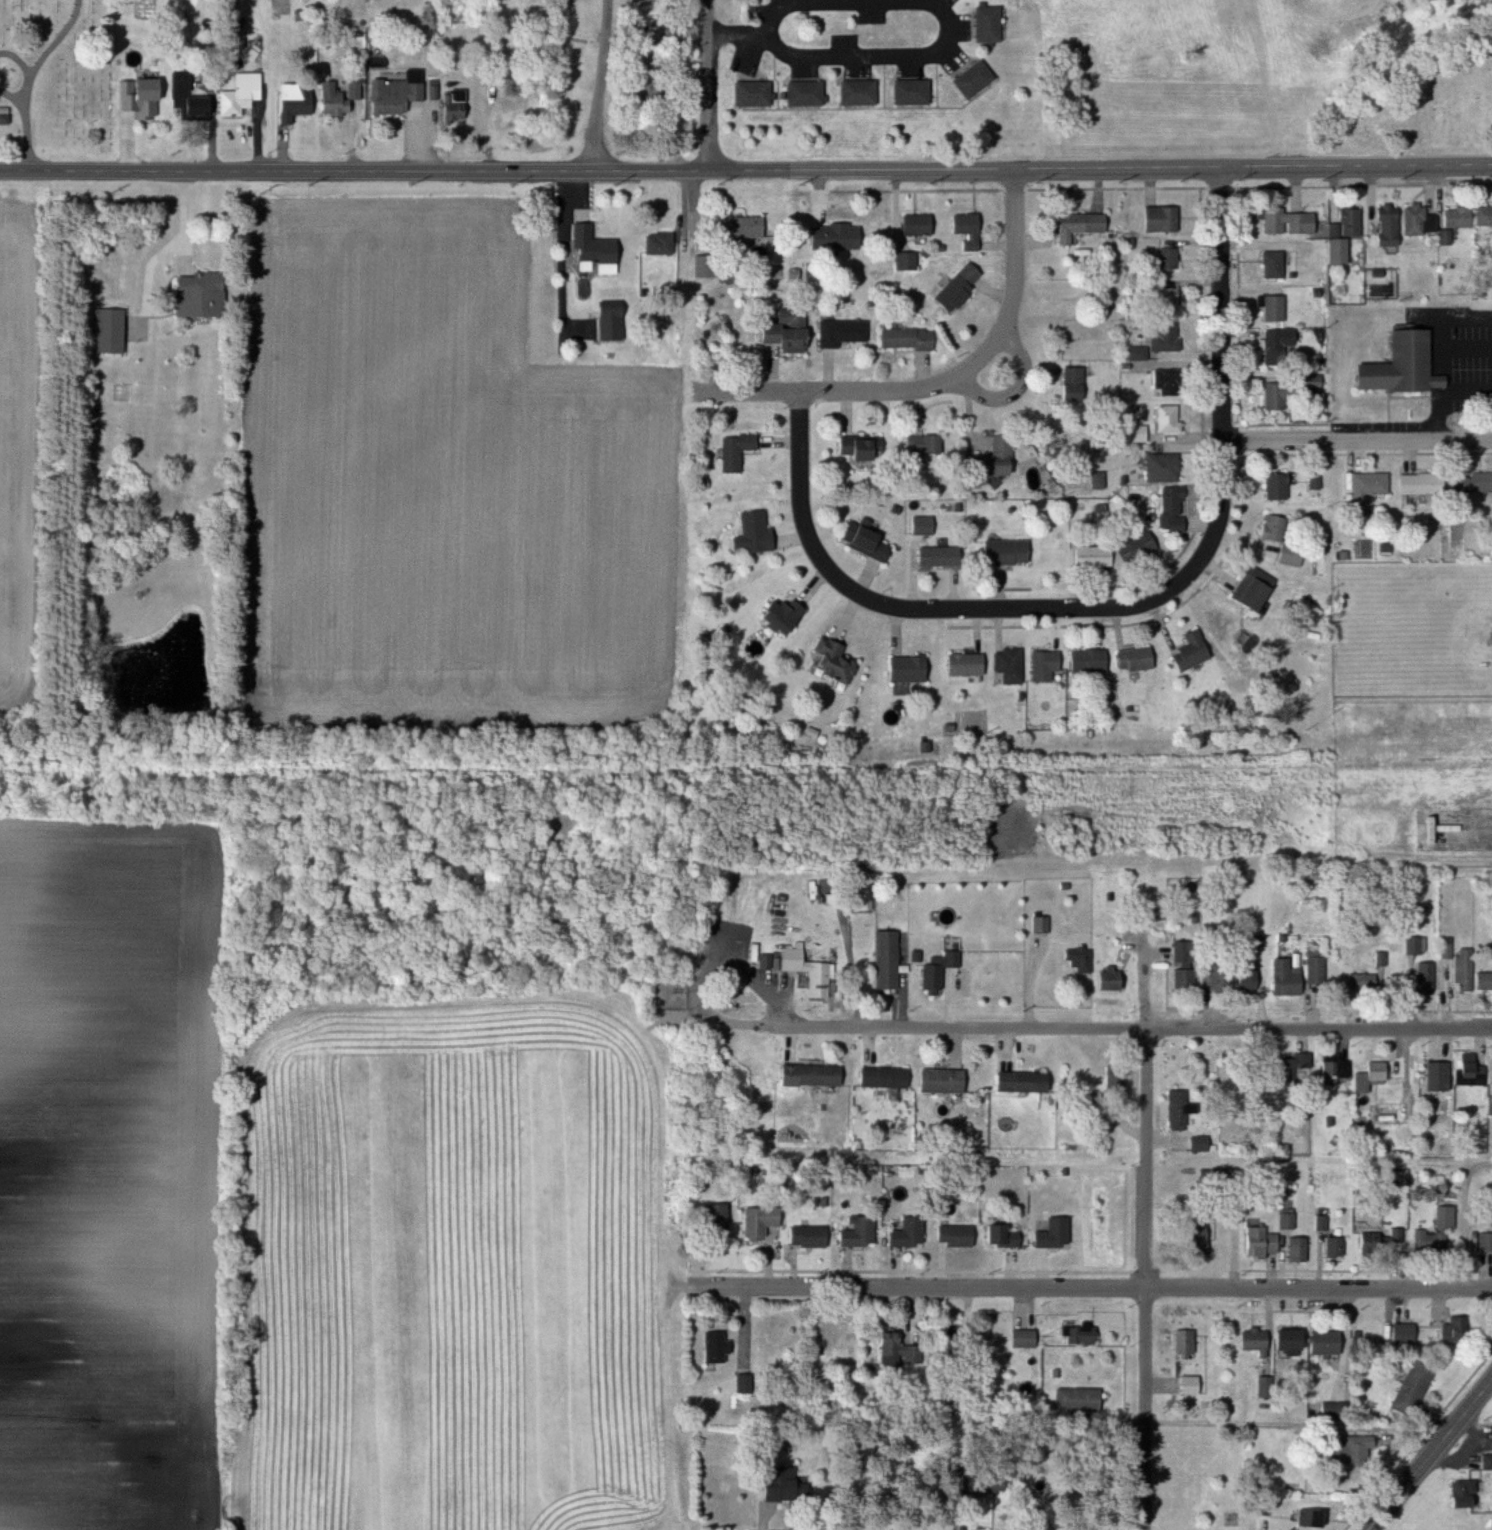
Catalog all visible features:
road: (818, 1)
road: (949, 14)
road: (709, 17)
building: (992, 25)
road: (739, 34)
road: (867, 53)
park: (65, 79)
building: (978, 80)
road: (603, 85)
building: (915, 92)
building: (862, 93)
building: (195, 94)
building: (244, 94)
building: (808, 94)
building: (401, 95)
building: (756, 95)
building: (152, 97)
building: (335, 100)
building: (298, 101)
park: (1452, 101)
road: (711, 103)
building: (458, 105)
road: (746, 170)
road: (186, 215)
building: (1469, 217)
building: (1164, 219)
building: (1423, 221)
building: (1292, 222)
building: (1083, 225)
building: (1391, 225)
building: (745, 227)
building: (974, 232)
building: (847, 235)
building: (1347, 235)
road: (170, 241)
building: (662, 243)
building: (599, 249)
road: (153, 251)
road: (562, 253)
building: (1170, 258)
building: (1277, 264)
building: (708, 266)
building: (962, 286)
building: (203, 294)
building: (1171, 300)
building: (1276, 307)
building: (614, 322)
building: (113, 330)
building: (792, 331)
building: (846, 333)
building: (1169, 337)
building: (910, 338)
building: (1283, 346)
building: (1408, 365)
building: (1171, 381)
building: (1077, 383)
road: (942, 384)
road: (1018, 389)
road: (1446, 394)
building: (1281, 395)
building: (1171, 418)
road: (1358, 440)
building: (927, 444)
building: (863, 447)
building: (739, 451)
building: (1003, 457)
building: (1165, 467)
building: (1424, 482)
building: (1475, 483)
building: (1280, 485)
building: (1371, 485)
building: (1175, 510)
building: (926, 524)
building: (760, 532)
building: (1286, 538)
building: (873, 543)
building: (1142, 549)
building: (1011, 552)
building: (1096, 555)
building: (942, 556)
building: (1261, 593)
road: (1125, 607)
building: (1195, 652)
building: (1146, 658)
building: (1092, 660)
building: (835, 662)
building: (970, 664)
building: (1049, 664)
building: (1012, 665)
building: (912, 669)
building: (1043, 924)
building: (1418, 945)
road: (1145, 947)
building: (1186, 952)
building: (800, 958)
building: (1081, 959)
building: (890, 960)
building: (1319, 965)
building: (942, 969)
building: (1467, 970)
road: (711, 975)
building: (1237, 975)
building: (1188, 978)
building: (1290, 978)
building: (1428, 979)
building: (1486, 981)
building: (1359, 982)
road: (808, 1028)
road: (1169, 1030)
building: (1474, 1068)
building: (1338, 1069)
building: (1294, 1070)
building: (816, 1075)
building: (1375, 1076)
building: (888, 1077)
building: (1117, 1077)
building: (1437, 1080)
building: (947, 1081)
building: (1027, 1082)
road: (1408, 1101)
building: (1491, 1106)
building: (1180, 1111)
building: (1388, 1116)
building: (1203, 1145)
road: (1320, 1167)
building: (1449, 1217)
building: (719, 1220)
building: (763, 1221)
road: (1466, 1229)
building: (1062, 1232)
building: (862, 1233)
building: (911, 1233)
building: (811, 1236)
building: (1003, 1236)
building: (959, 1237)
building: (1202, 1238)
building: (1383, 1242)
building: (1264, 1243)
building: (1487, 1243)
building: (1339, 1247)
building: (1302, 1249)
road: (1146, 1279)
road: (1090, 1287)
building: (1460, 1330)
building: (1403, 1334)
building: (1082, 1335)
building: (1027, 1339)
building: (1293, 1339)
building: (1258, 1340)
building: (1332, 1342)
building: (1188, 1344)
building: (719, 1346)
building: (901, 1351)
building: (746, 1384)
building: (1419, 1384)
building: (1193, 1385)
building: (1269, 1387)
building: (1081, 1399)
road: (1300, 1426)
building: (1354, 1451)
road: (1430, 1456)
building: (787, 1484)
building: (1467, 1487)
building: (1315, 1518)

